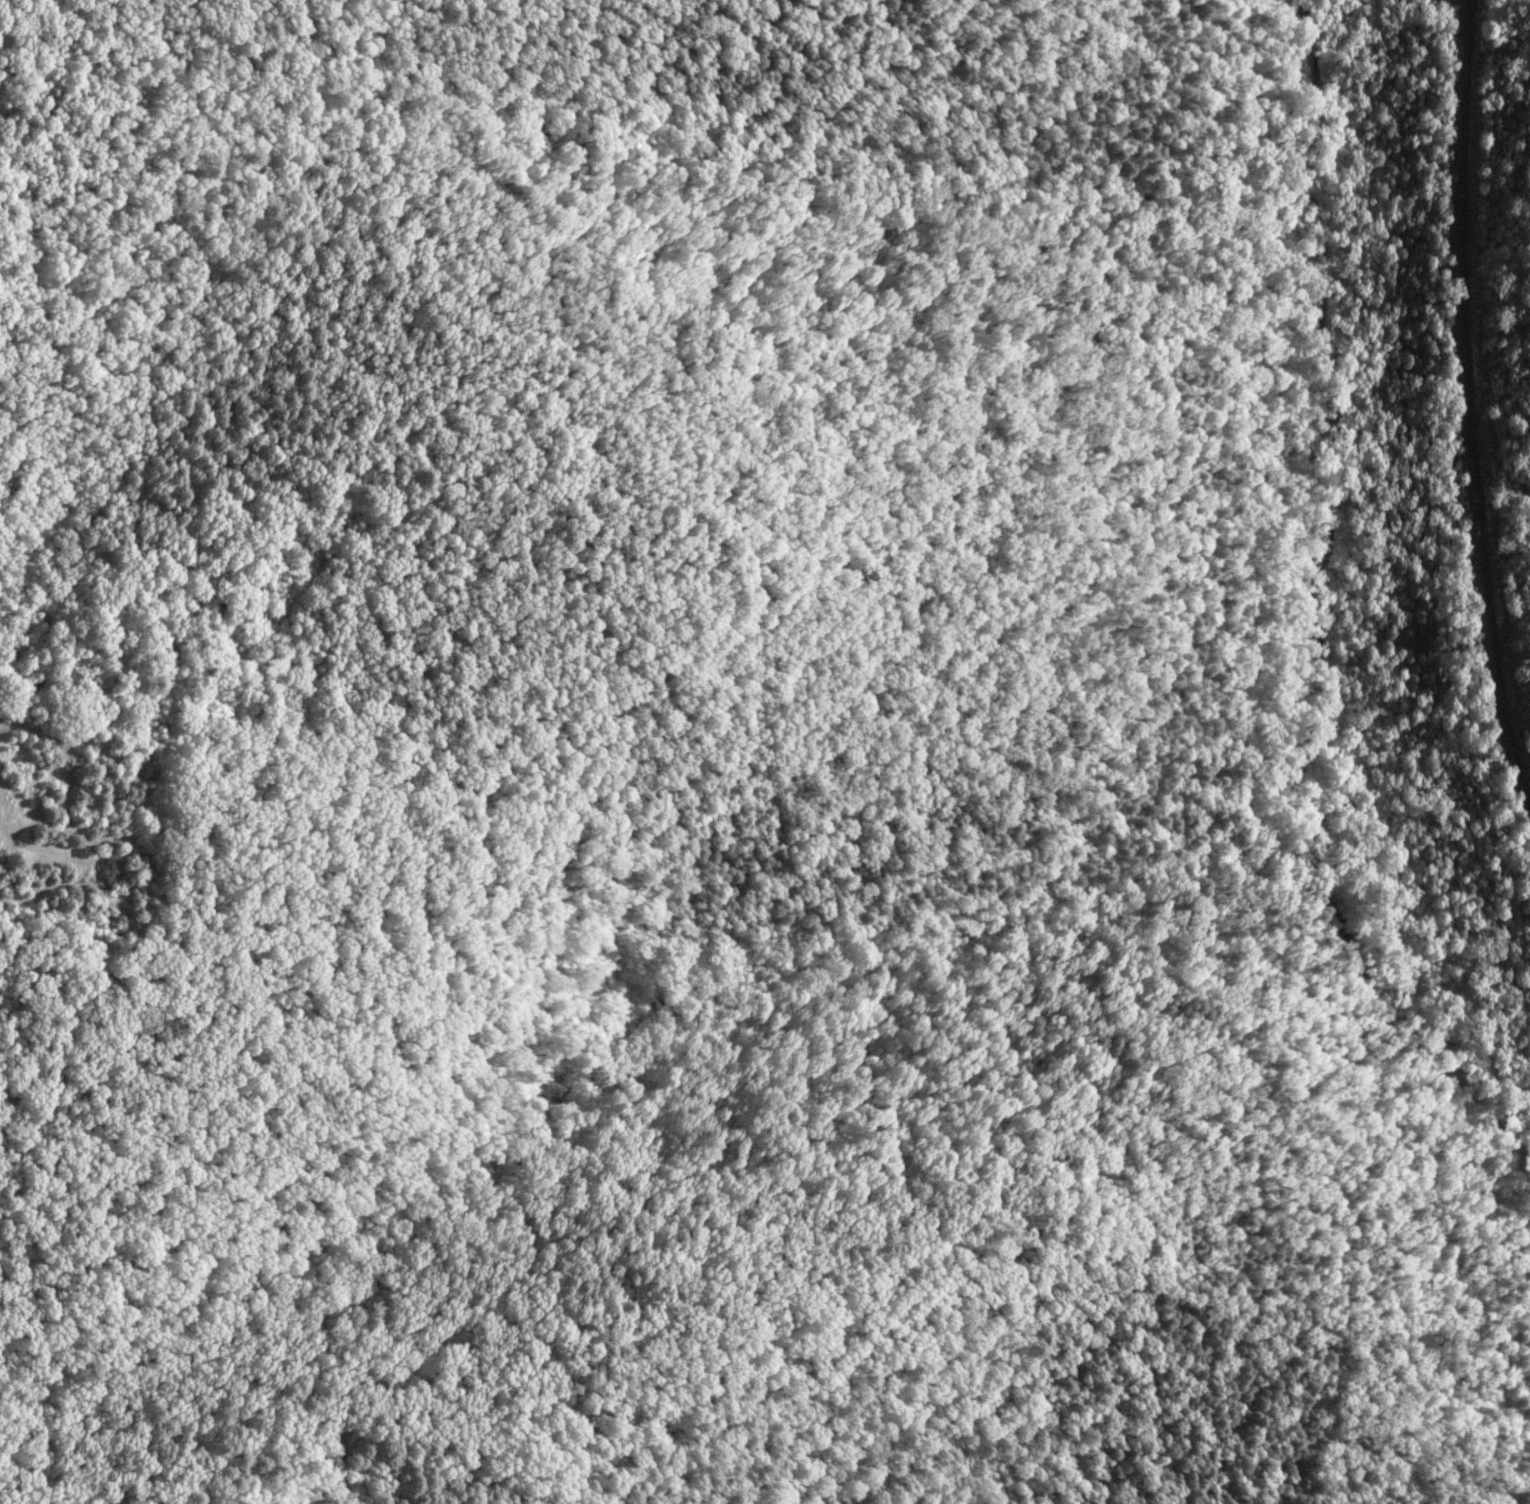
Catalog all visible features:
railway: (1444, 445)

